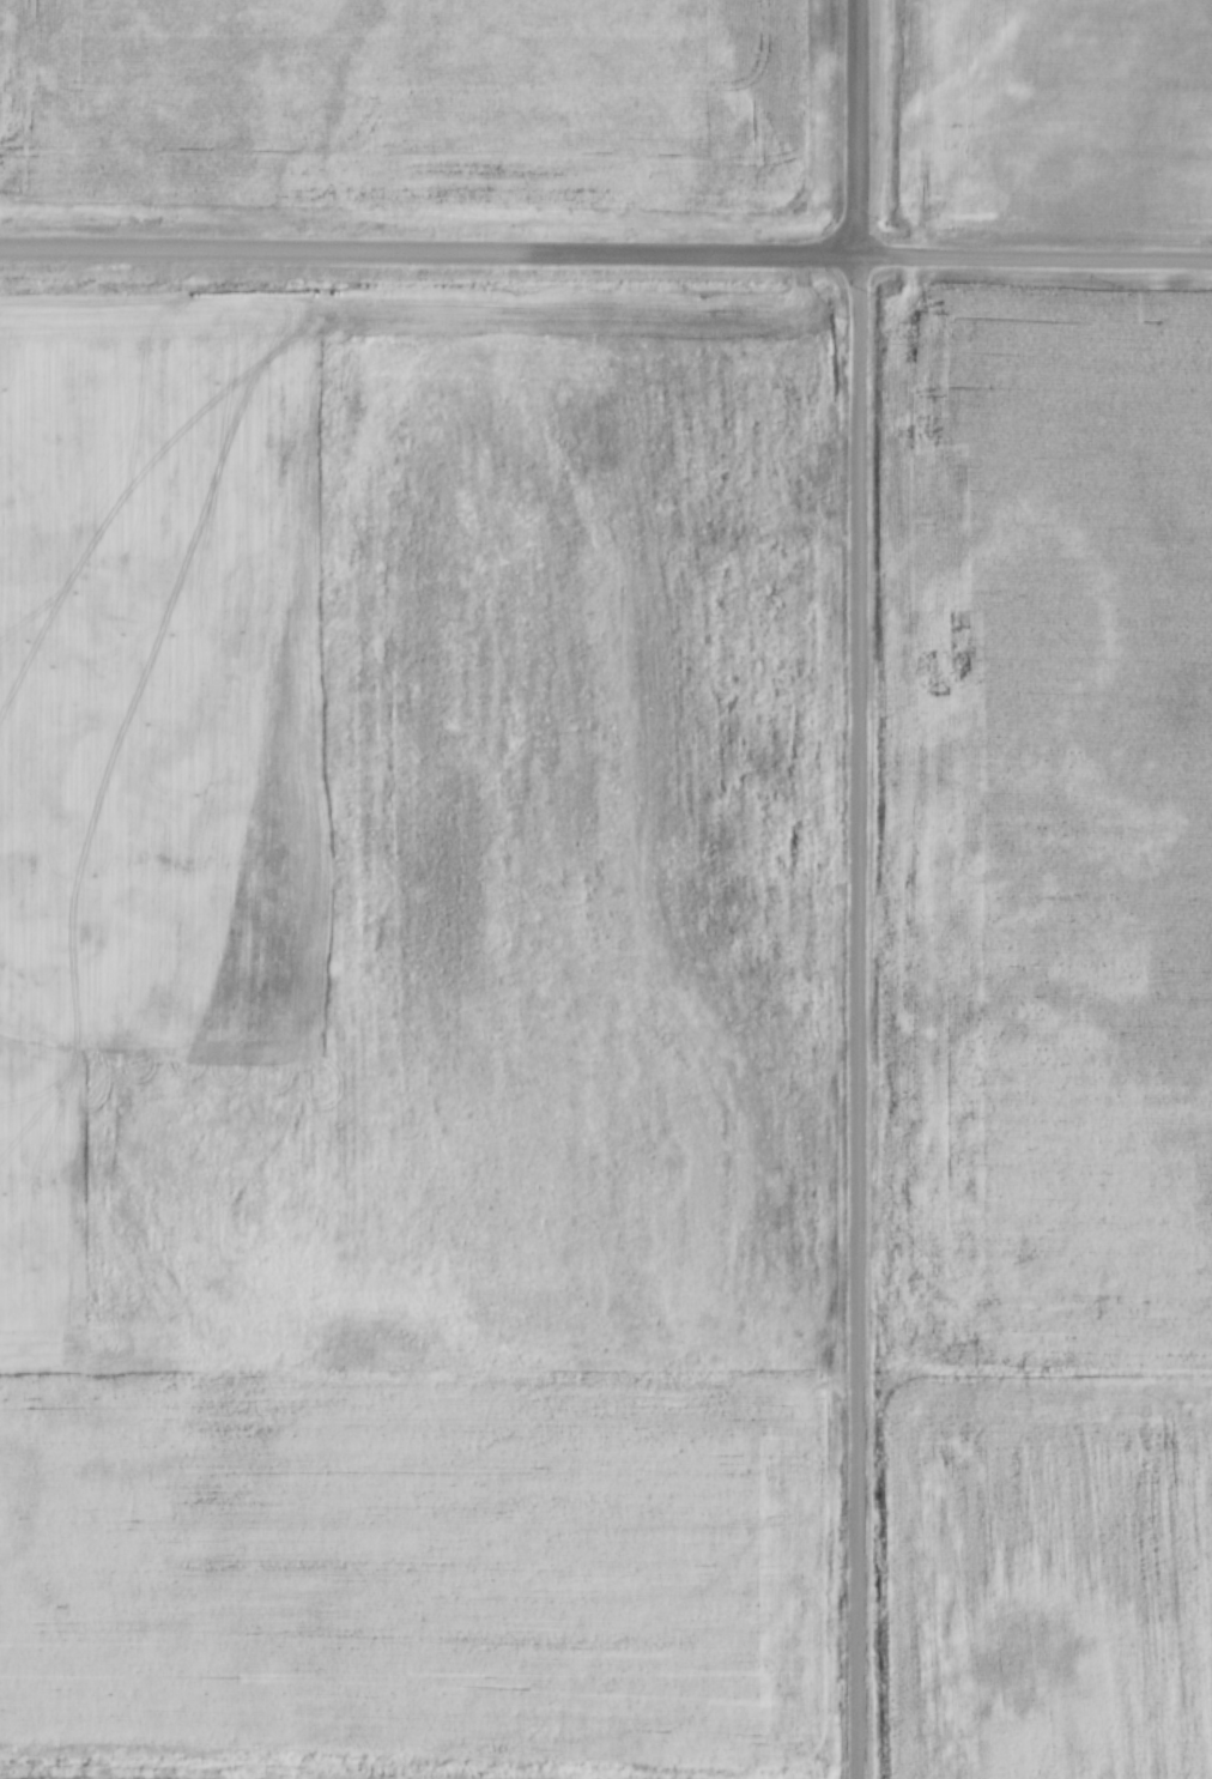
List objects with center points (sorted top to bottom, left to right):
crop: (1059, 115)
road: (855, 128)
road: (428, 252)
road: (1034, 260)
road: (853, 1017)

